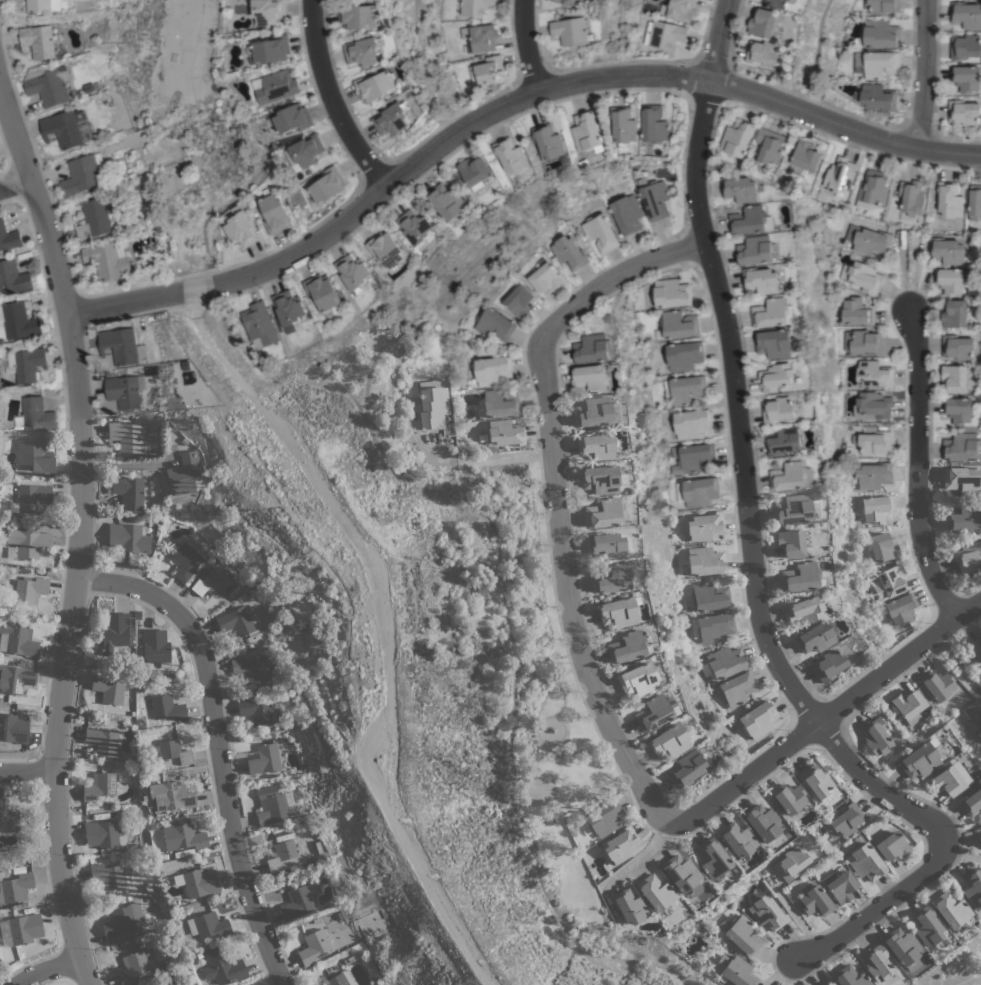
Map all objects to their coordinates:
building: (565, 1)
building: (782, 3)
building: (38, 6)
building: (474, 6)
building: (883, 6)
building: (678, 9)
building: (265, 10)
building: (966, 15)
building: (357, 16)
building: (764, 23)
building: (570, 30)
building: (663, 33)
building: (879, 34)
building: (480, 37)
building: (37, 41)
road: (534, 44)
building: (965, 46)
building: (270, 49)
building: (361, 51)
building: (764, 53)
building: (394, 54)
building: (879, 64)
road: (728, 69)
building: (486, 71)
road: (923, 74)
building: (966, 78)
building: (375, 85)
building: (274, 86)
building: (49, 87)
road: (332, 97)
building: (404, 97)
building: (875, 97)
road: (508, 109)
building: (964, 112)
building: (290, 118)
building: (391, 119)
building: (654, 124)
building: (623, 126)
building: (62, 129)
building: (586, 132)
building: (737, 137)
building: (547, 141)
building: (769, 147)
building: (302, 152)
building: (510, 155)
building: (805, 157)
building: (583, 164)
building: (473, 172)
building: (82, 173)
building: (839, 174)
road: (14, 185)
building: (326, 185)
building: (740, 188)
building: (872, 189)
building: (655, 199)
building: (911, 199)
building: (949, 199)
building: (445, 201)
building: (974, 202)
building: (273, 213)
building: (626, 214)
building: (94, 217)
building: (751, 220)
building: (240, 228)
building: (414, 228)
building: (599, 232)
building: (9, 237)
building: (871, 241)
road: (688, 245)
building: (385, 249)
building: (756, 250)
building: (947, 250)
building: (568, 252)
building: (105, 260)
building: (351, 272)
building: (862, 276)
building: (13, 277)
building: (544, 277)
building: (761, 280)
building: (951, 280)
building: (670, 293)
building: (322, 294)
building: (517, 301)
building: (287, 311)
building: (855, 311)
building: (773, 312)
road: (543, 313)
building: (956, 314)
building: (607, 317)
building: (17, 321)
building: (259, 324)
building: (492, 324)
building: (679, 324)
building: (862, 341)
building: (774, 343)
building: (119, 345)
building: (958, 346)
building: (591, 349)
building: (684, 355)
building: (28, 365)
building: (490, 370)
building: (873, 374)
building: (777, 376)
building: (956, 377)
building: (590, 378)
building: (684, 389)
building: (122, 392)
building: (499, 403)
building: (433, 405)
building: (872, 405)
building: (778, 410)
building: (959, 410)
building: (594, 412)
building: (34, 415)
building: (691, 423)
building: (869, 428)
building: (506, 433)
building: (125, 436)
building: (783, 441)
building: (873, 443)
building: (596, 446)
building: (961, 446)
building: (35, 455)
road: (492, 457)
building: (691, 457)
road: (126, 468)
road: (920, 472)
building: (183, 474)
building: (791, 476)
building: (873, 476)
building: (600, 479)
building: (962, 480)
building: (128, 491)
building: (696, 491)
building: (32, 498)
road: (561, 505)
building: (876, 508)
building: (794, 509)
building: (604, 513)
building: (962, 518)
building: (856, 524)
building: (705, 525)
road: (86, 530)
building: (130, 537)
building: (27, 543)
building: (790, 543)
building: (606, 545)
building: (882, 547)
road: (758, 553)
building: (967, 556)
building: (185, 561)
building: (705, 561)
building: (613, 577)
building: (801, 577)
building: (889, 582)
building: (211, 583)
building: (30, 589)
building: (710, 597)
road: (945, 601)
building: (900, 608)
building: (803, 609)
building: (619, 612)
building: (238, 621)
road: (381, 622)
building: (713, 627)
building: (116, 630)
building: (814, 637)
building: (18, 640)
building: (156, 647)
building: (626, 647)
building: (977, 650)
building: (723, 663)
building: (828, 665)
building: (251, 668)
building: (17, 678)
building: (638, 679)
road: (804, 683)
building: (938, 684)
building: (736, 688)
building: (111, 689)
building: (909, 705)
building: (167, 708)
building: (258, 711)
road: (802, 711)
building: (654, 712)
road: (829, 716)
building: (758, 719)
building: (976, 722)
building: (13, 728)
building: (876, 736)
building: (102, 740)
road: (830, 740)
building: (670, 741)
road: (221, 749)
building: (174, 751)
building: (266, 758)
building: (921, 758)
building: (689, 767)
road: (26, 778)
building: (947, 781)
building: (818, 784)
building: (100, 786)
building: (171, 796)
building: (788, 798)
building: (971, 802)
building: (274, 805)
building: (8, 818)
building: (601, 819)
building: (846, 819)
building: (980, 819)
building: (763, 822)
building: (103, 834)
building: (978, 834)
building: (183, 837)
building: (736, 840)
building: (620, 844)
building: (892, 846)
building: (284, 856)
building: (712, 859)
building: (865, 862)
building: (791, 863)
building: (681, 873)
building: (109, 877)
building: (199, 883)
building: (840, 885)
building: (16, 887)
building: (972, 888)
building: (656, 892)
building: (814, 900)
building: (298, 901)
building: (629, 906)
building: (952, 910)
building: (767, 911)
building: (122, 919)
building: (208, 925)
building: (929, 928)
building: (22, 929)
building: (740, 933)
building: (314, 947)
building: (903, 948)
building: (876, 963)
building: (135, 965)
building: (222, 966)
building: (735, 970)
road: (48, 974)
building: (849, 977)
building: (340, 979)
building: (828, 983)

